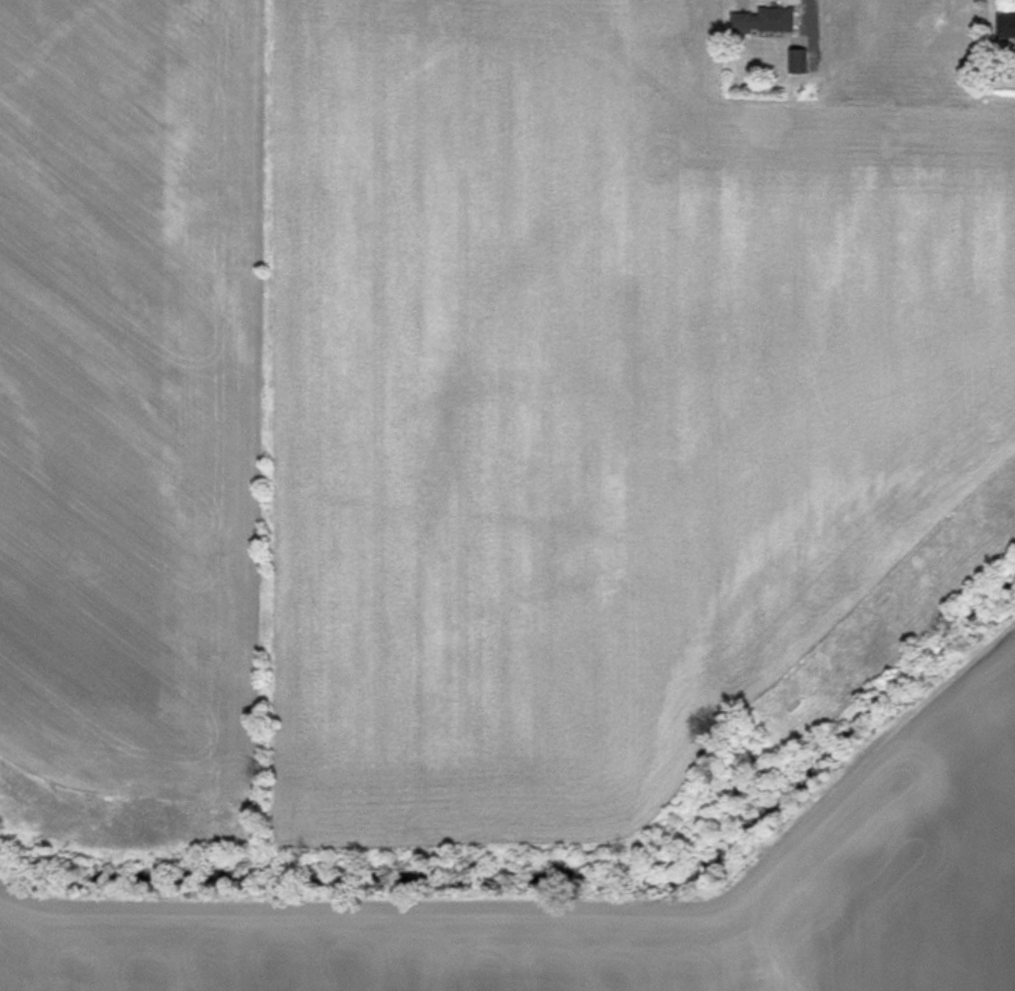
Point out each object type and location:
building: (767, 19)
building: (1006, 25)

